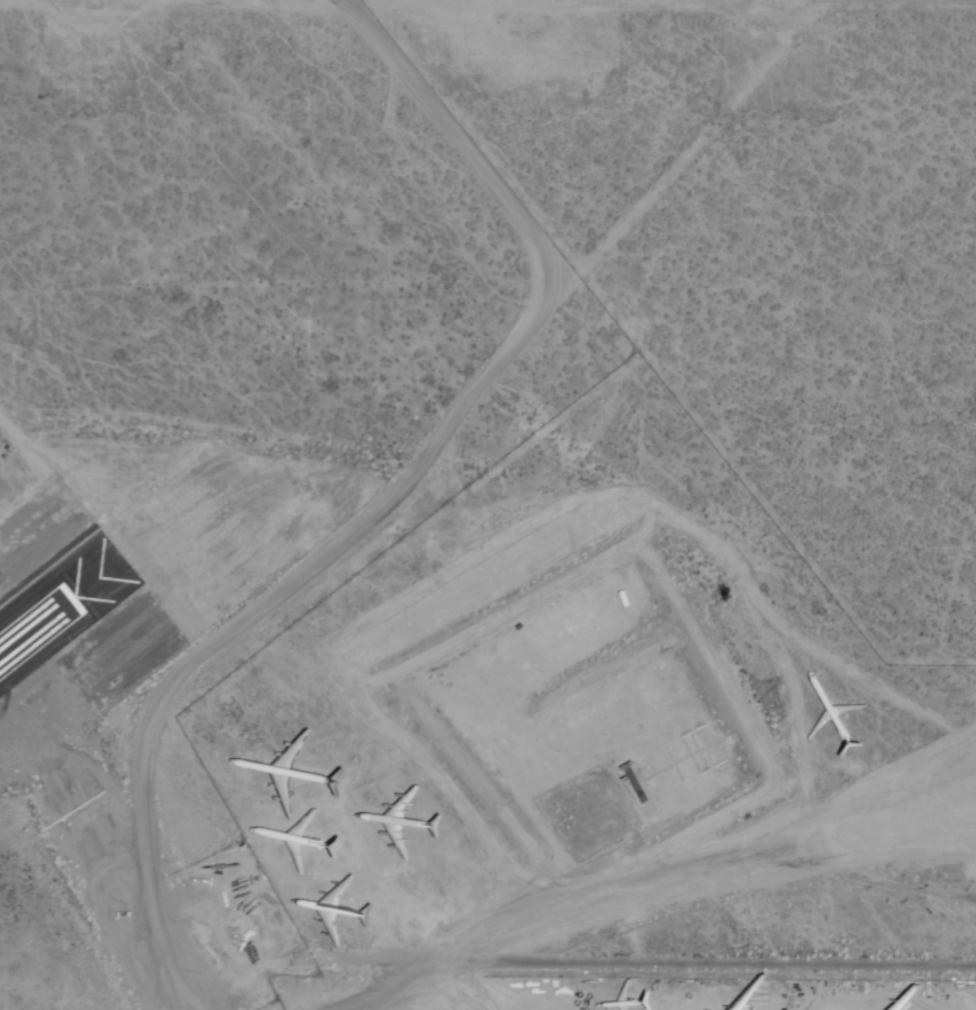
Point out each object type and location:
road: (423, 467)
airport: (488, 505)
airport runway: (37, 628)
building: (709, 745)
building: (631, 781)
road: (794, 864)
airport apron: (165, 871)
airport taxiway: (134, 885)
road: (653, 966)
airport apron: (664, 995)
road: (203, 1006)

